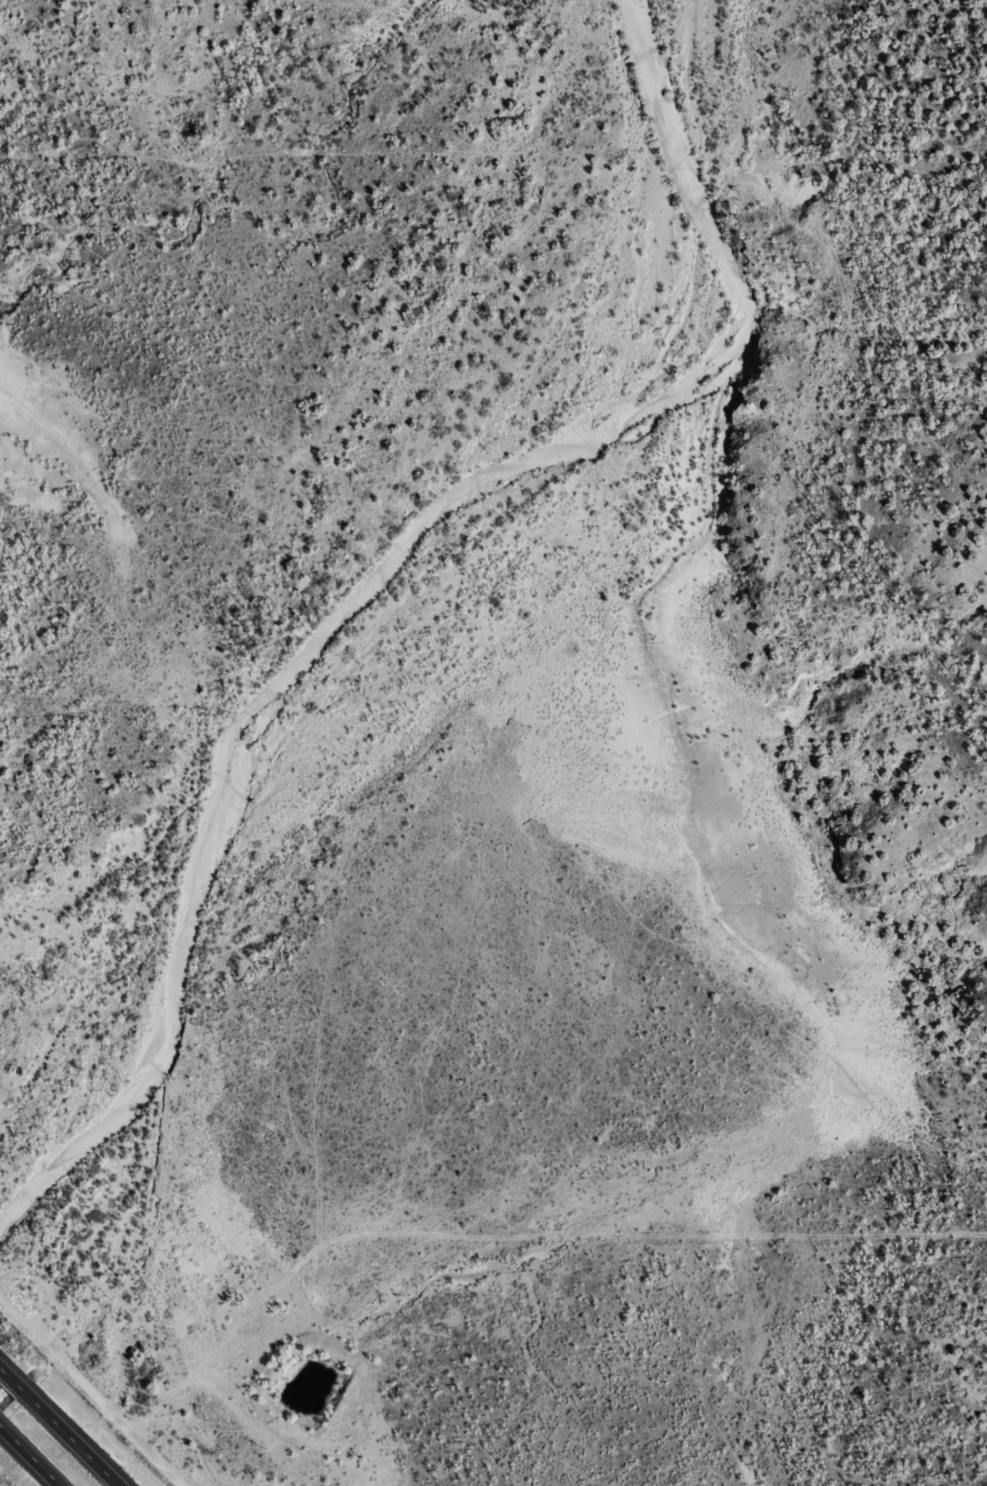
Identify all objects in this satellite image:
road: (13, 1379)
road: (0, 1429)
road: (72, 1439)
road: (27, 1458)

